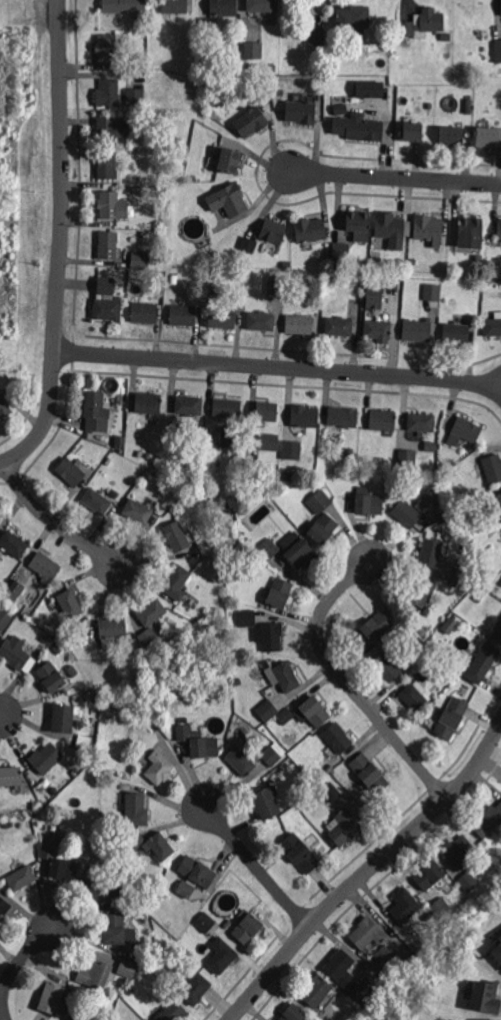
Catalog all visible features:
building: (264, 5)
building: (134, 6)
building: (176, 6)
building: (224, 7)
building: (500, 7)
building: (353, 16)
building: (424, 22)
building: (149, 26)
building: (317, 35)
building: (447, 36)
building: (107, 47)
building: (450, 47)
building: (224, 48)
building: (253, 48)
building: (498, 50)
building: (141, 64)
building: (272, 65)
building: (370, 89)
building: (108, 90)
building: (278, 91)
building: (134, 96)
building: (149, 100)
building: (208, 100)
building: (340, 108)
building: (301, 111)
building: (442, 117)
building: (252, 121)
building: (359, 127)
building: (111, 128)
building: (412, 131)
building: (452, 134)
building: (489, 137)
building: (134, 138)
building: (230, 161)
building: (107, 163)
building: (192, 177)
road: (396, 177)
building: (156, 191)
building: (229, 199)
building: (112, 203)
building: (358, 222)
building: (389, 224)
building: (428, 227)
building: (310, 229)
building: (471, 229)
building: (274, 230)
building: (499, 230)
building: (143, 234)
building: (107, 242)
road: (61, 243)
building: (247, 243)
building: (341, 250)
building: (326, 255)
building: (413, 259)
building: (479, 259)
building: (140, 260)
building: (241, 273)
building: (160, 274)
building: (368, 282)
building: (105, 283)
building: (277, 284)
building: (213, 288)
building: (433, 291)
building: (375, 298)
building: (107, 307)
building: (145, 311)
building: (184, 314)
building: (223, 317)
building: (262, 320)
building: (300, 322)
building: (340, 324)
building: (492, 325)
building: (378, 328)
building: (417, 329)
building: (457, 332)
road: (279, 365)
building: (149, 402)
building: (190, 404)
building: (5, 405)
building: (227, 408)
building: (96, 410)
building: (266, 410)
building: (342, 415)
building: (305, 416)
building: (383, 420)
building: (422, 421)
building: (465, 430)
building: (231, 436)
building: (121, 442)
building: (270, 442)
building: (430, 446)
building: (292, 449)
building: (350, 451)
building: (150, 456)
building: (408, 457)
building: (361, 458)
building: (440, 465)
building: (493, 466)
building: (71, 470)
building: (453, 474)
building: (288, 475)
building: (430, 497)
building: (98, 499)
building: (465, 499)
building: (498, 500)
building: (320, 501)
building: (369, 501)
building: (138, 510)
building: (407, 512)
building: (444, 514)
building: (219, 517)
road: (54, 520)
building: (324, 527)
building: (178, 534)
building: (14, 542)
building: (269, 548)
building: (245, 551)
building: (431, 551)
building: (302, 552)
building: (45, 564)
building: (484, 572)
building: (461, 574)
building: (500, 580)
building: (177, 581)
building: (452, 581)
building: (15, 590)
building: (423, 590)
building: (280, 591)
building: (480, 593)
building: (69, 601)
building: (233, 606)
building: (152, 611)
building: (5, 618)
building: (247, 618)
building: (403, 622)
building: (67, 625)
building: (451, 625)
building: (113, 626)
building: (372, 628)
building: (498, 631)
building: (270, 634)
building: (149, 636)
building: (47, 637)
building: (59, 649)
building: (16, 651)
building: (127, 653)
building: (417, 661)
building: (483, 661)
building: (387, 665)
building: (73, 669)
building: (426, 671)
building: (51, 675)
building: (287, 675)
building: (237, 682)
road: (348, 682)
building: (414, 694)
building: (97, 697)
building: (265, 710)
building: (306, 713)
building: (452, 716)
building: (64, 717)
building: (184, 719)
building: (155, 724)
building: (338, 736)
building: (198, 740)
building: (272, 755)
building: (47, 756)
building: (241, 760)
building: (160, 766)
building: (370, 771)
building: (11, 774)
building: (319, 775)
building: (55, 789)
building: (332, 791)
building: (267, 802)
building: (137, 808)
building: (488, 820)
building: (8, 822)
building: (344, 825)
building: (153, 843)
building: (458, 849)
building: (300, 851)
building: (59, 861)
building: (114, 863)
road: (258, 867)
road: (365, 871)
building: (430, 873)
building: (195, 875)
building: (22, 876)
building: (468, 880)
building: (99, 888)
building: (123, 898)
building: (405, 904)
building: (4, 905)
building: (441, 908)
building: (206, 921)
building: (229, 923)
building: (247, 924)
building: (115, 927)
building: (367, 931)
building: (500, 939)
building: (139, 953)
building: (497, 953)
building: (222, 954)
building: (384, 957)
building: (126, 966)
road: (15, 967)
building: (96, 972)
building: (344, 973)
building: (197, 987)
building: (315, 989)
building: (52, 996)
building: (484, 999)
building: (173, 1011)
building: (293, 1012)
building: (80, 1018)
building: (75, 1019)
building: (498, 1019)

